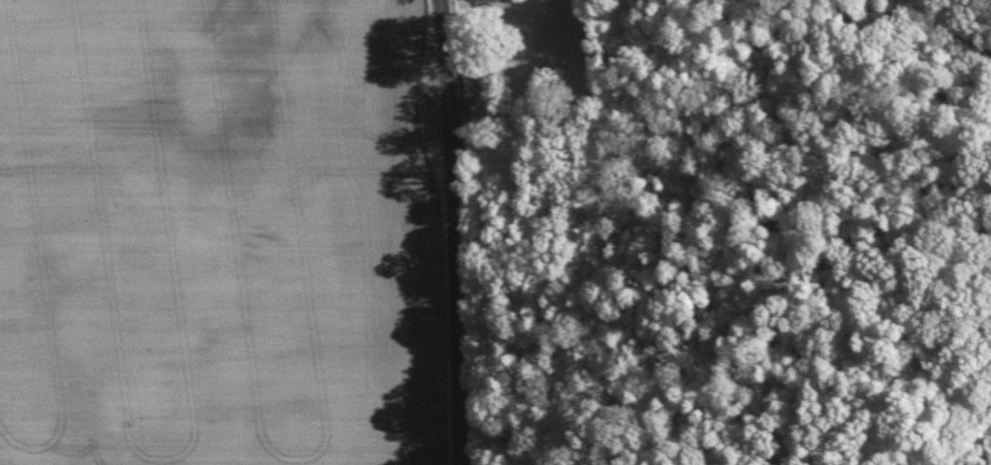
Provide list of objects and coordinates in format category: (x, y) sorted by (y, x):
road: (461, 232)

